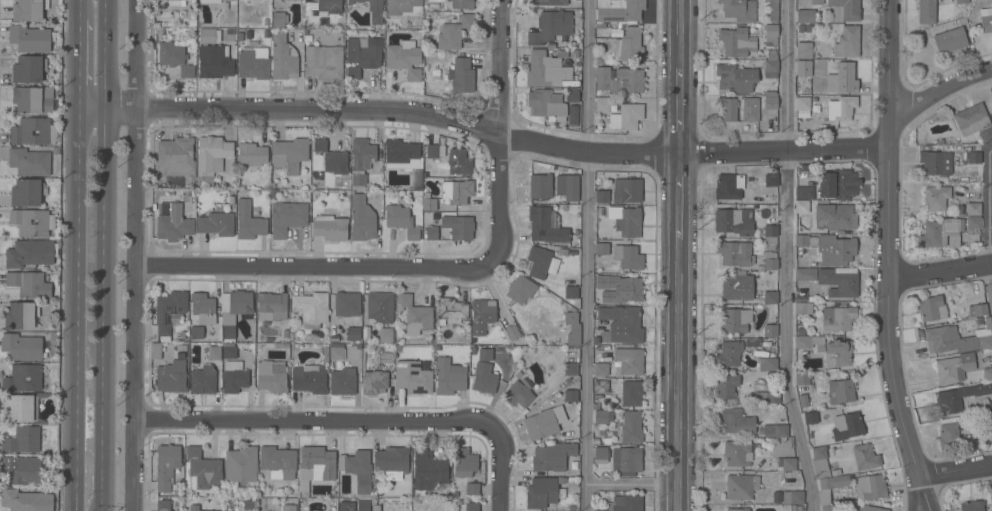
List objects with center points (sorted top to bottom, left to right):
building: (182, 0)
building: (771, 0)
building: (212, 1)
building: (961, 1)
building: (550, 2)
building: (816, 2)
building: (174, 3)
building: (369, 4)
building: (462, 4)
building: (329, 6)
building: (404, 8)
road: (79, 9)
building: (28, 10)
building: (739, 10)
building: (844, 10)
building: (773, 11)
building: (620, 12)
building: (929, 12)
building: (805, 16)
building: (278, 19)
building: (985, 20)
building: (550, 27)
building: (453, 33)
road: (679, 33)
building: (209, 36)
building: (771, 36)
building: (30, 38)
building: (950, 40)
building: (736, 42)
building: (846, 42)
building: (628, 46)
building: (804, 50)
building: (362, 56)
building: (174, 58)
building: (283, 58)
building: (403, 59)
building: (213, 63)
building: (323, 63)
building: (252, 66)
road: (498, 66)
road: (78, 67)
building: (771, 67)
building: (803, 68)
building: (28, 69)
building: (546, 69)
road: (889, 75)
building: (462, 76)
building: (735, 78)
building: (619, 80)
building: (572, 94)
road: (926, 94)
building: (832, 96)
building: (32, 101)
building: (991, 104)
building: (546, 105)
building: (602, 105)
building: (758, 107)
building: (727, 108)
road: (679, 111)
road: (380, 112)
building: (572, 116)
building: (626, 117)
building: (973, 122)
building: (32, 131)
building: (432, 151)
building: (402, 153)
road: (783, 153)
building: (251, 154)
building: (362, 154)
building: (212, 155)
building: (289, 155)
building: (175, 157)
building: (331, 158)
building: (973, 158)
building: (31, 162)
building: (458, 162)
building: (935, 162)
building: (358, 180)
building: (770, 180)
building: (837, 183)
building: (729, 186)
building: (567, 187)
building: (539, 188)
building: (627, 191)
building: (456, 192)
building: (27, 193)
building: (804, 193)
building: (602, 197)
road: (678, 197)
building: (935, 198)
building: (429, 204)
building: (801, 206)
building: (973, 209)
road: (103, 211)
building: (287, 217)
building: (832, 217)
road: (989, 218)
building: (361, 219)
building: (401, 221)
building: (626, 221)
building: (733, 221)
building: (32, 222)
building: (248, 222)
building: (174, 223)
building: (216, 224)
building: (545, 225)
building: (973, 225)
building: (330, 228)
building: (461, 228)
building: (770, 230)
building: (939, 232)
building: (431, 233)
building: (801, 240)
building: (601, 249)
building: (835, 250)
building: (30, 253)
building: (733, 253)
road: (139, 255)
road: (587, 255)
road: (785, 256)
building: (628, 257)
building: (541, 262)
road: (77, 264)
building: (770, 264)
road: (380, 268)
building: (805, 274)
road: (940, 274)
building: (839, 281)
building: (29, 284)
building: (736, 287)
building: (520, 289)
building: (619, 289)
building: (571, 292)
building: (770, 297)
building: (240, 302)
building: (346, 304)
building: (272, 305)
building: (379, 307)
building: (202, 308)
building: (803, 308)
building: (931, 308)
building: (311, 309)
building: (450, 310)
building: (977, 310)
building: (168, 312)
building: (483, 314)
building: (605, 314)
building: (414, 315)
road: (887, 315)
building: (20, 316)
building: (837, 319)
building: (734, 320)
building: (626, 327)
building: (572, 329)
building: (770, 331)
building: (196, 332)
building: (229, 332)
building: (511, 332)
building: (352, 333)
building: (385, 336)
building: (957, 339)
building: (803, 342)
building: (21, 347)
building: (154, 349)
building: (228, 351)
building: (335, 352)
building: (214, 353)
building: (835, 353)
building: (485, 354)
building: (728, 354)
building: (386, 356)
building: (628, 360)
building: (767, 364)
building: (570, 368)
building: (951, 368)
building: (601, 369)
building: (987, 374)
road: (676, 375)
building: (271, 376)
building: (171, 377)
building: (233, 377)
building: (449, 377)
building: (23, 378)
building: (412, 378)
building: (484, 378)
building: (801, 379)
building: (202, 380)
building: (308, 380)
building: (342, 382)
building: (374, 382)
building: (600, 386)
building: (726, 386)
building: (982, 390)
building: (840, 391)
building: (631, 393)
building: (517, 395)
building: (570, 396)
building: (767, 397)
building: (952, 400)
building: (989, 406)
building: (20, 408)
building: (614, 415)
building: (600, 417)
building: (810, 418)
road: (351, 419)
building: (990, 419)
building: (735, 421)
building: (540, 424)
building: (847, 426)
building: (631, 427)
building: (768, 431)
building: (780, 431)
building: (950, 437)
building: (22, 440)
building: (736, 452)
building: (600, 455)
building: (552, 457)
building: (865, 457)
building: (625, 460)
road: (75, 462)
building: (278, 462)
building: (391, 462)
building: (464, 462)
building: (820, 463)
building: (316, 464)
building: (788, 464)
road: (100, 466)
building: (240, 466)
building: (166, 467)
building: (203, 469)
building: (357, 470)
road: (954, 470)
building: (20, 471)
building: (427, 472)
road: (631, 484)
building: (741, 486)
building: (830, 487)
building: (869, 488)
building: (471, 489)
building: (542, 493)
road: (915, 493)
road: (922, 493)
building: (792, 497)
building: (26, 501)
road: (498, 504)
building: (623, 504)
building: (162, 505)
building: (363, 505)
building: (971, 505)
building: (346, 506)
building: (471, 507)
building: (288, 508)
building: (830, 508)
building: (867, 508)
building: (738, 509)
building: (203, 510)

